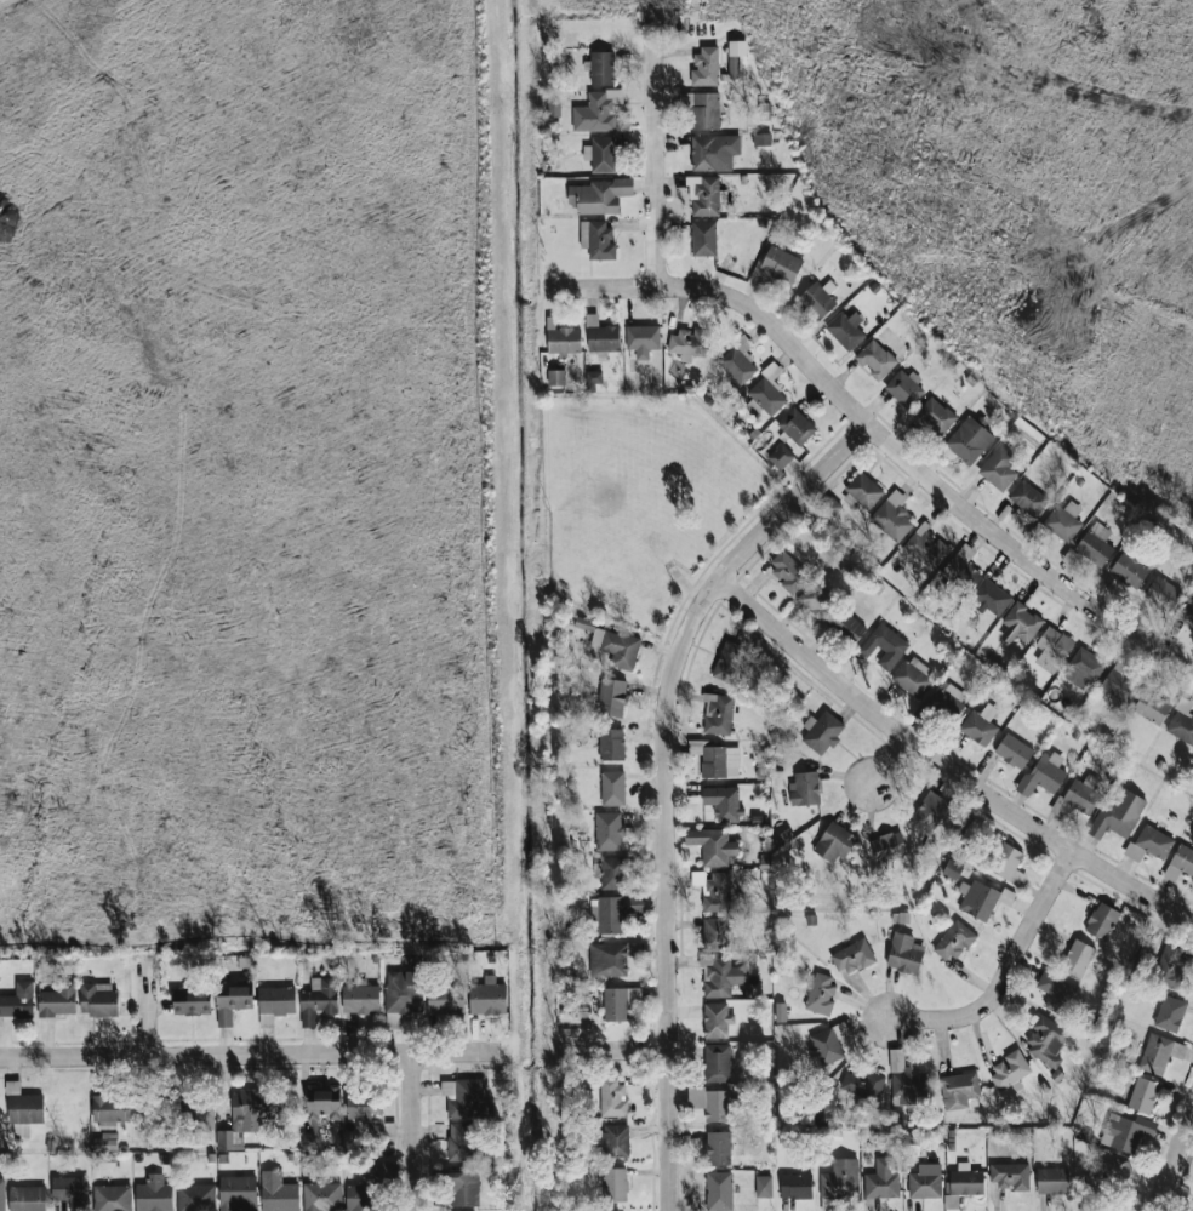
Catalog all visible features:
building: (736, 59)
building: (704, 67)
building: (601, 68)
building: (702, 109)
building: (596, 112)
building: (714, 152)
building: (600, 154)
road: (656, 158)
building: (599, 195)
building: (706, 195)
building: (596, 239)
building: (703, 239)
building: (781, 264)
building: (817, 299)
building: (845, 330)
building: (600, 336)
building: (643, 339)
building: (564, 341)
building: (875, 359)
building: (737, 361)
building: (556, 377)
building: (593, 378)
building: (904, 388)
building: (767, 390)
building: (935, 417)
building: (797, 425)
road: (877, 433)
building: (969, 440)
building: (781, 457)
building: (999, 468)
building: (864, 490)
building: (1028, 498)
building: (892, 516)
building: (1063, 521)
building: (1095, 544)
building: (926, 547)
road: (731, 561)
building: (961, 569)
building: (1129, 570)
building: (788, 571)
building: (1163, 593)
building: (991, 596)
building: (816, 600)
building: (1187, 612)
building: (846, 624)
building: (1020, 624)
building: (885, 646)
building: (617, 647)
building: (1052, 649)
building: (729, 662)
building: (1084, 668)
building: (913, 675)
building: (1119, 681)
building: (611, 697)
building: (947, 699)
building: (1152, 707)
building: (718, 714)
building: (1181, 722)
building: (980, 725)
building: (822, 732)
building: (611, 744)
building: (1014, 752)
building: (717, 759)
road: (891, 766)
road: (943, 766)
building: (1043, 775)
building: (612, 788)
building: (804, 789)
building: (1084, 793)
building: (724, 802)
building: (929, 812)
building: (1118, 815)
building: (609, 830)
building: (834, 842)
building: (1149, 844)
building: (712, 846)
building: (887, 846)
building: (1180, 863)
building: (1008, 864)
building: (952, 869)
building: (613, 873)
building: (981, 899)
building: (615, 913)
building: (1102, 920)
building: (715, 933)
building: (955, 941)
building: (904, 954)
building: (854, 956)
building: (1078, 958)
building: (609, 960)
building: (1170, 965)
road: (664, 973)
road: (1004, 973)
building: (720, 975)
building: (404, 992)
building: (1057, 993)
building: (634, 994)
building: (821, 994)
building: (487, 996)
building: (360, 998)
building: (445, 998)
building: (18, 1000)
building: (58, 1000)
building: (98, 1000)
building: (276, 1000)
building: (319, 1000)
building: (232, 1001)
building: (192, 1002)
building: (615, 1004)
building: (1170, 1013)
building: (266, 1021)
building: (393, 1021)
building: (717, 1021)
building: (1046, 1041)
building: (827, 1046)
road: (615, 1051)
road: (251, 1053)
building: (718, 1063)
building: (1010, 1069)
building: (906, 1080)
building: (863, 1084)
building: (959, 1090)
building: (1142, 1095)
building: (464, 1097)
building: (613, 1098)
building: (696, 1101)
building: (717, 1106)
building: (23, 1109)
building: (110, 1110)
building: (366, 1112)
building: (320, 1115)
building: (246, 1116)
building: (202, 1118)
road: (409, 1131)
building: (1128, 1131)
building: (613, 1139)
building: (105, 1142)
building: (461, 1142)
building: (717, 1148)
road: (1171, 1158)
building: (1010, 1176)
building: (1102, 1176)
building: (840, 1179)
building: (883, 1179)
building: (966, 1181)
building: (1052, 1181)
building: (925, 1182)
building: (615, 1184)
building: (795, 1186)
building: (764, 1187)
building: (464, 1188)
building: (719, 1190)
building: (70, 1192)
building: (366, 1192)
building: (238, 1193)
building: (278, 1193)
building: (154, 1194)
building: (1, 1195)
building: (322, 1196)
building: (112, 1198)
building: (196, 1198)
building: (27, 1199)
building: (952, 1203)
building: (828, 1205)
building: (612, 1210)

